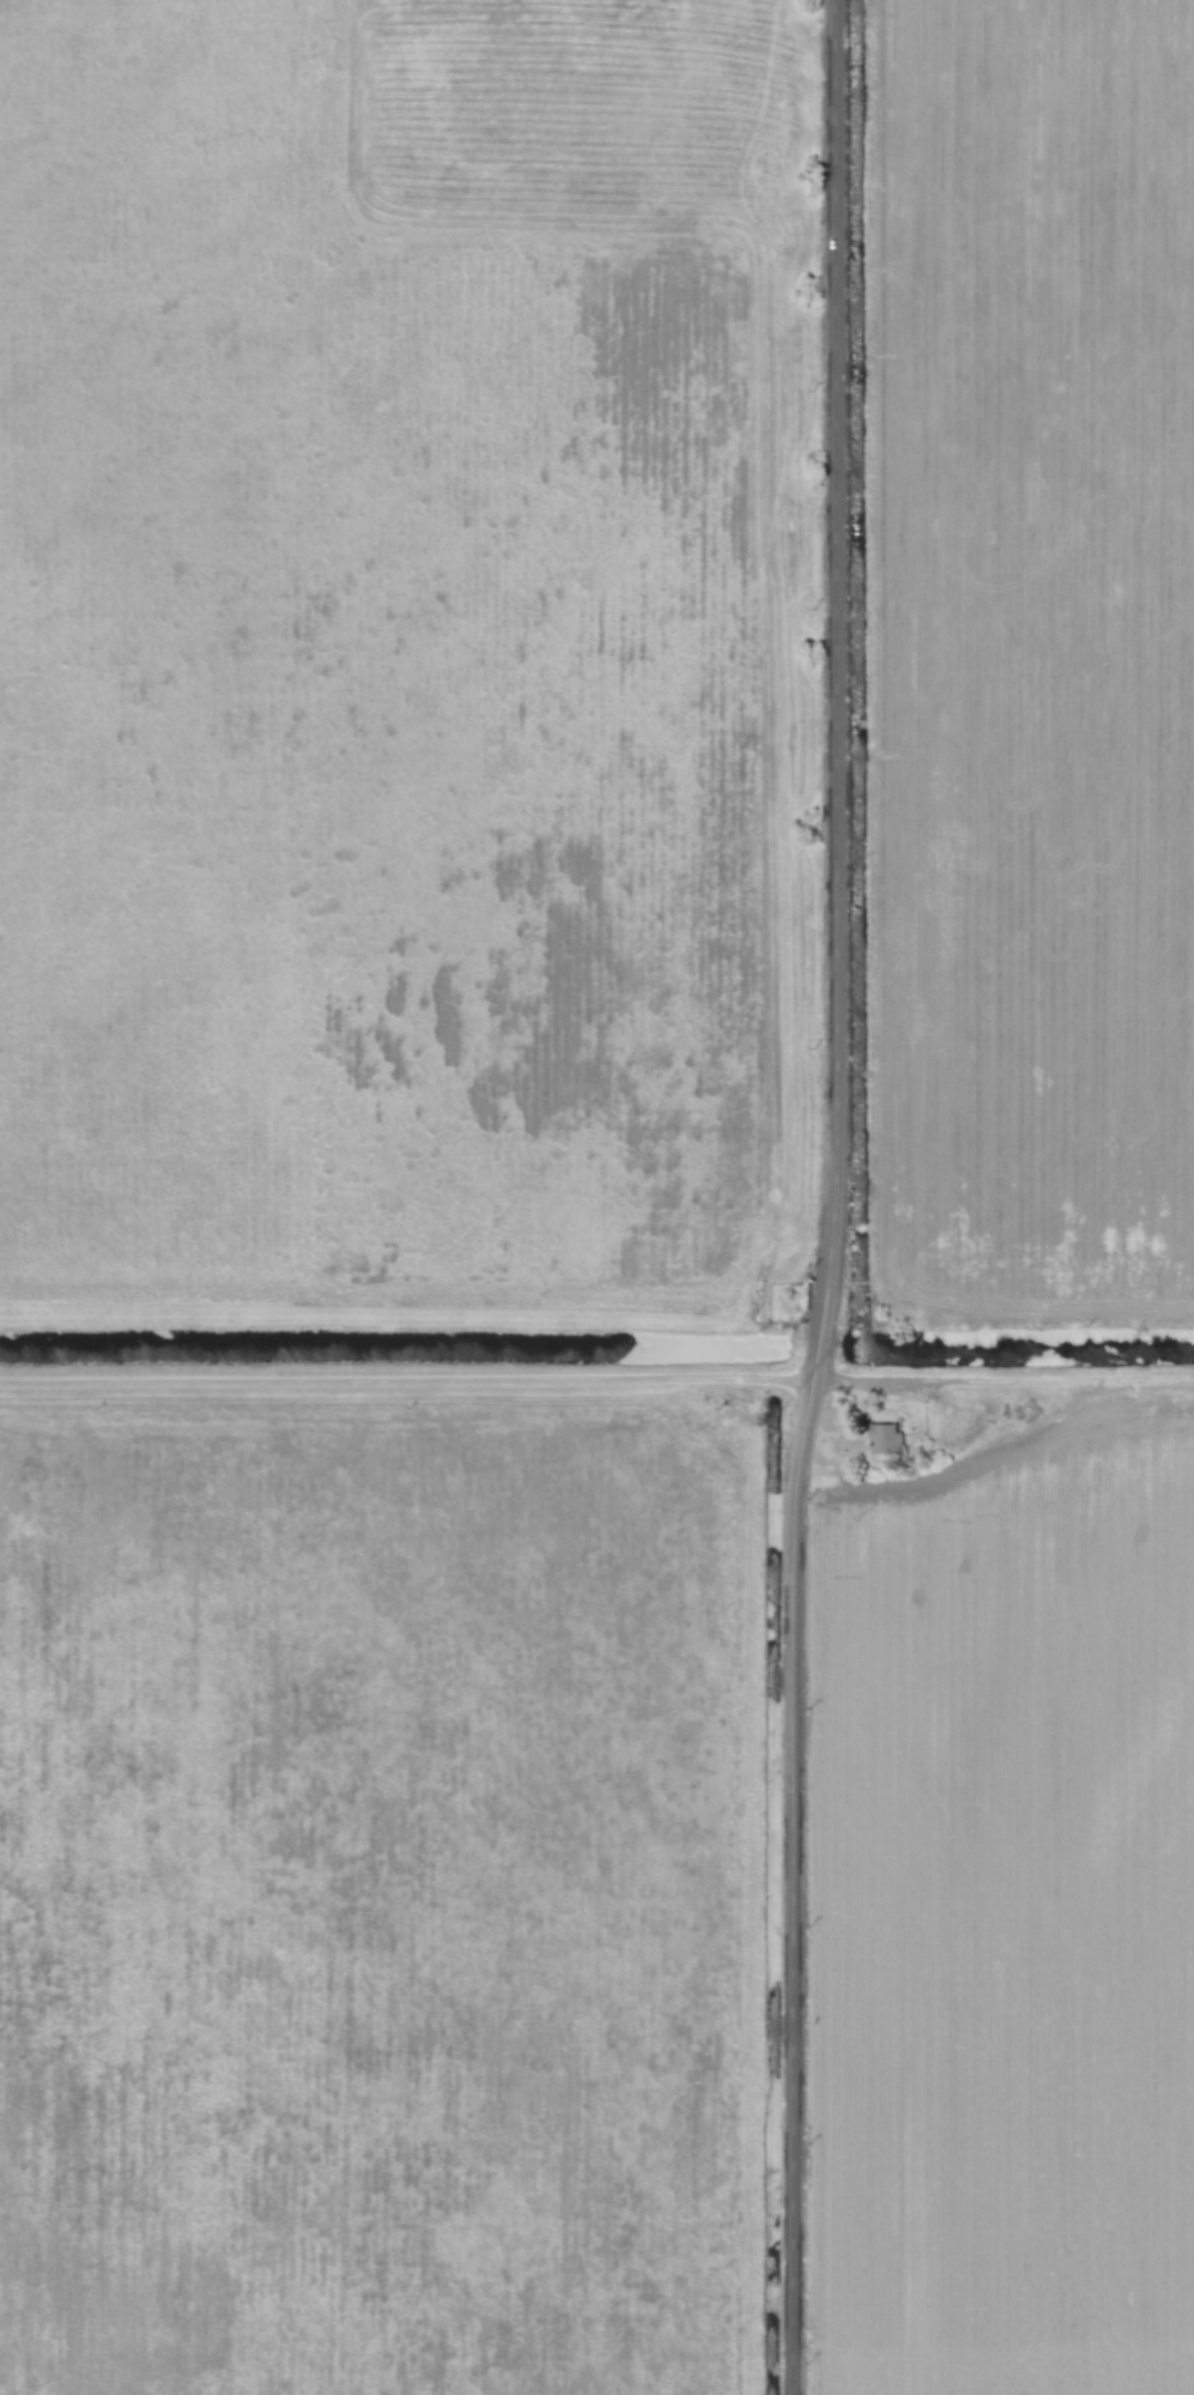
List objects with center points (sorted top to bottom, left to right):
road: (838, 1198)
building: (883, 1438)
crop: (1012, 1891)

